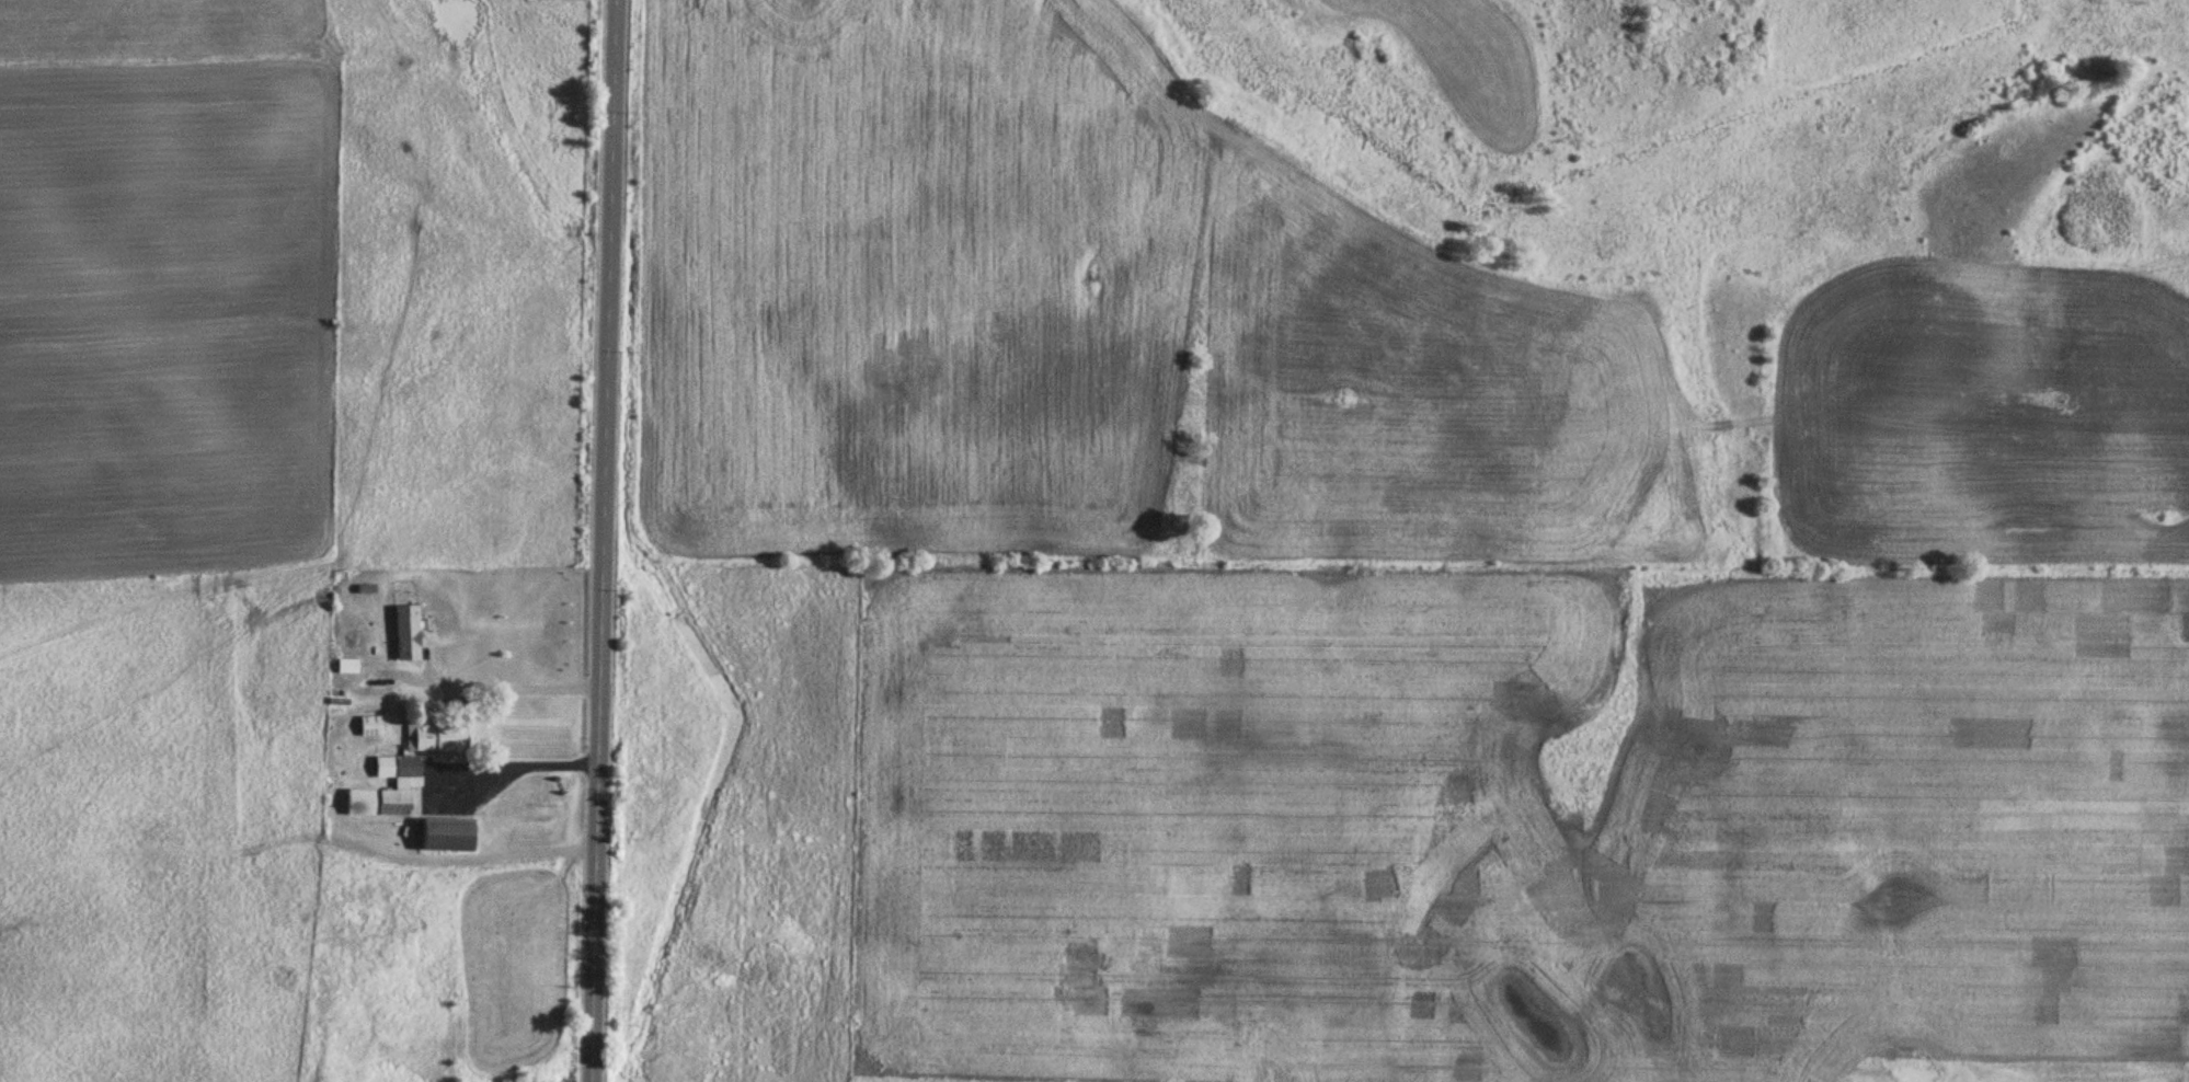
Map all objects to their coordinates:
road: (605, 540)
building: (405, 633)
building: (368, 725)
building: (434, 738)
building: (406, 783)
building: (443, 834)

